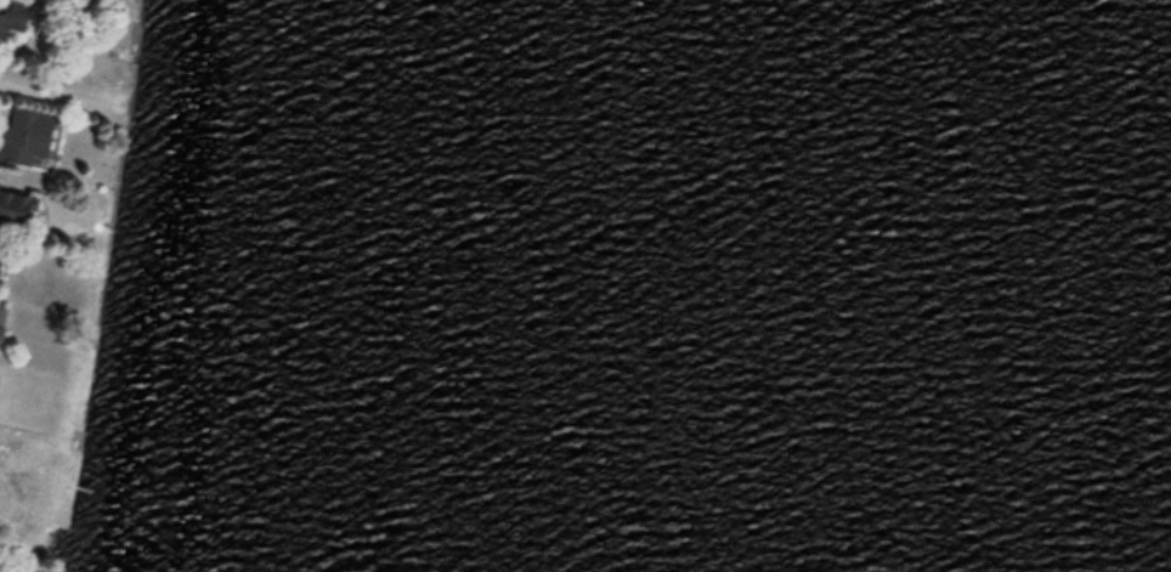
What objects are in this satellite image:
building: (11, 16)
road: (36, 85)
building: (26, 131)
road: (0, 171)
building: (13, 206)
building: (0, 237)
building: (1, 333)
road: (18, 539)

